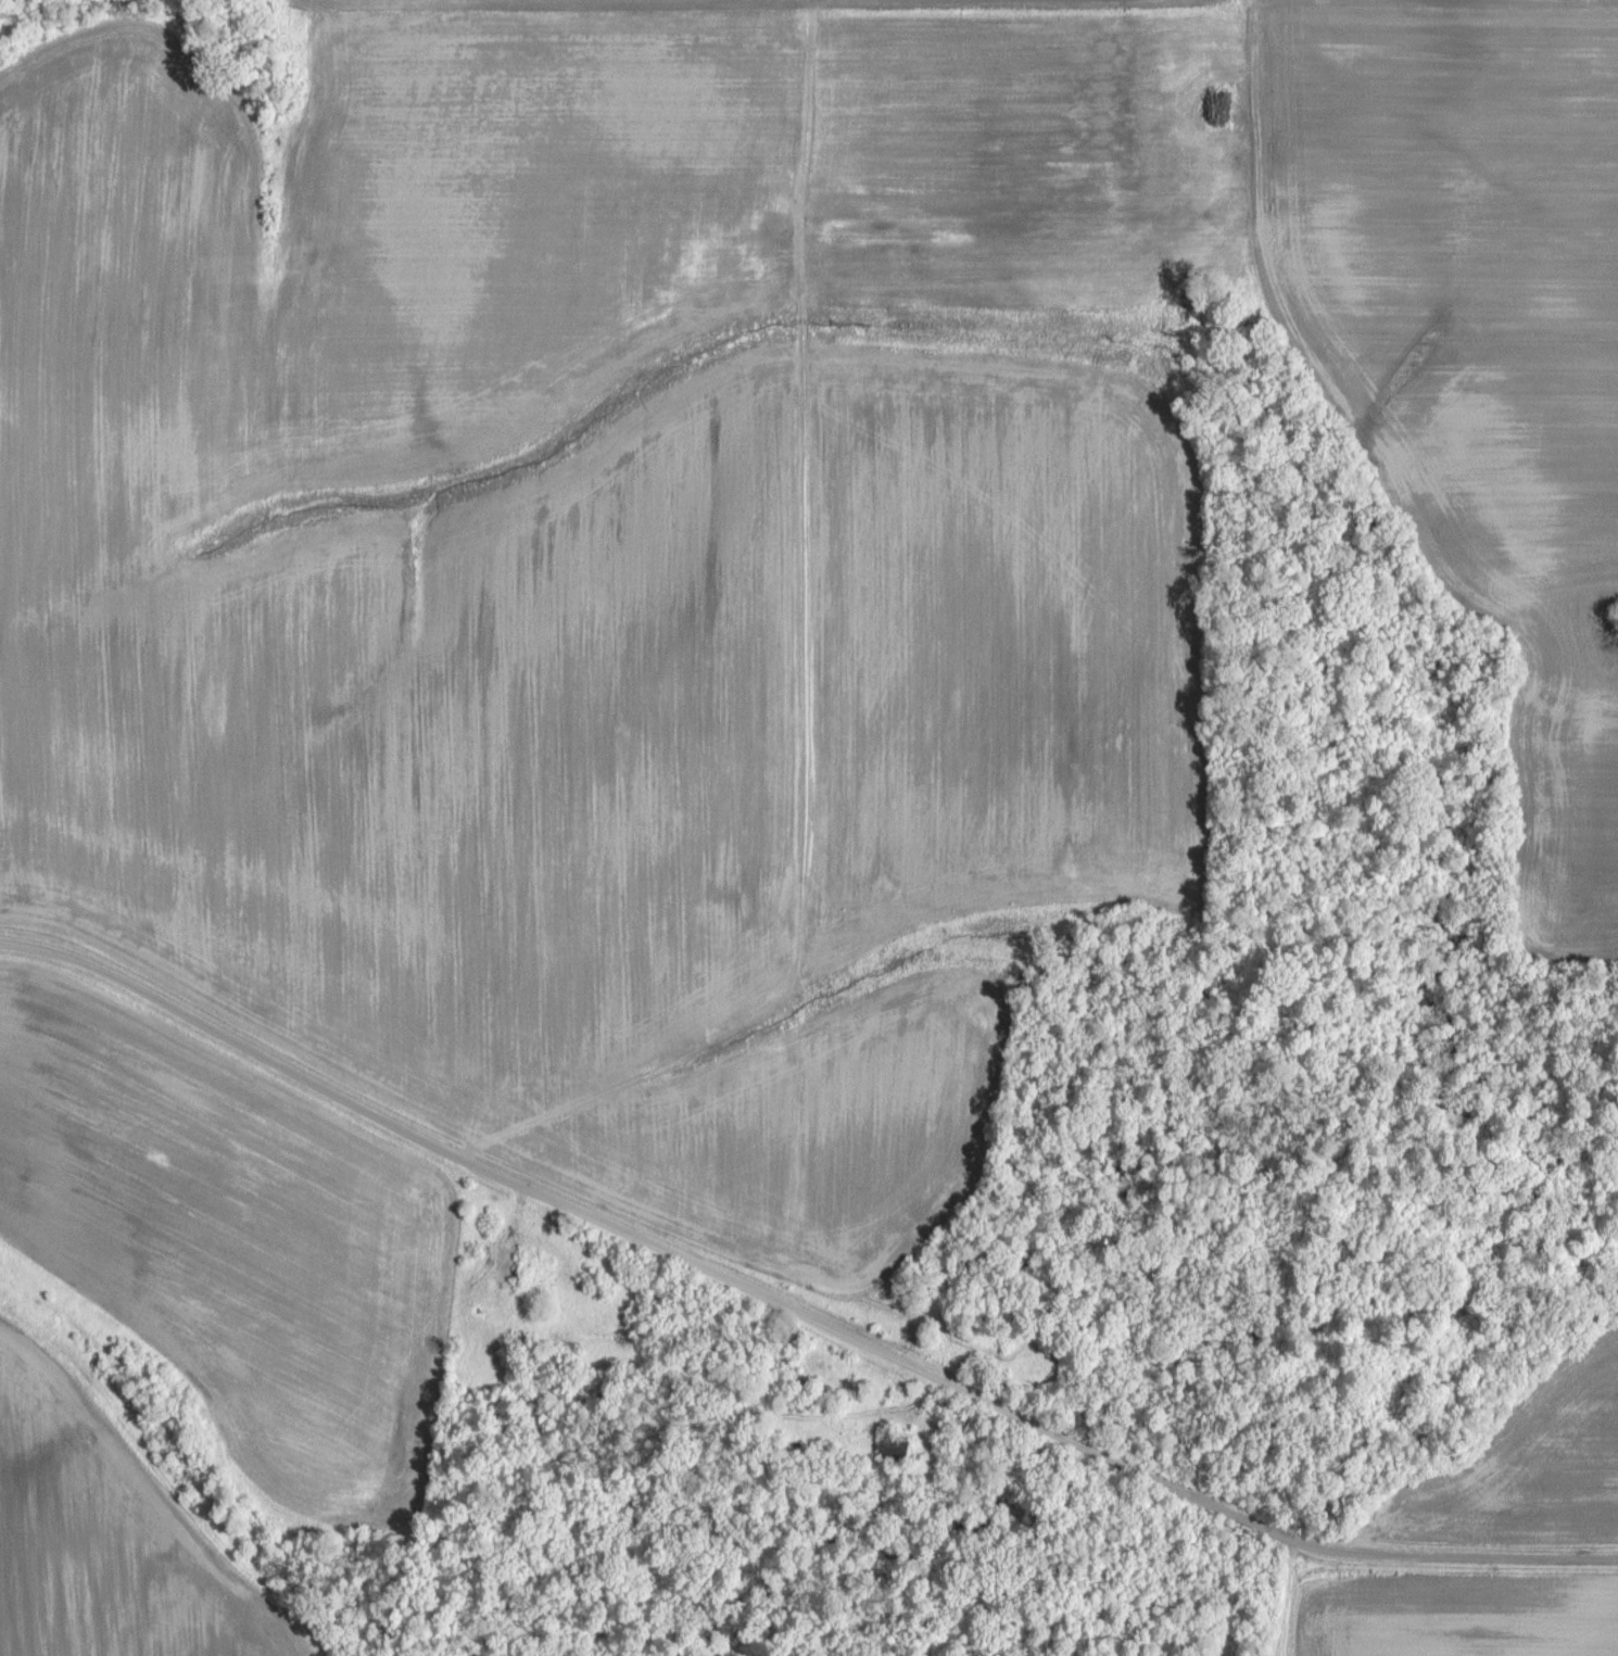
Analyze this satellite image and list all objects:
road: (616, 1228)
road: (1424, 1548)

